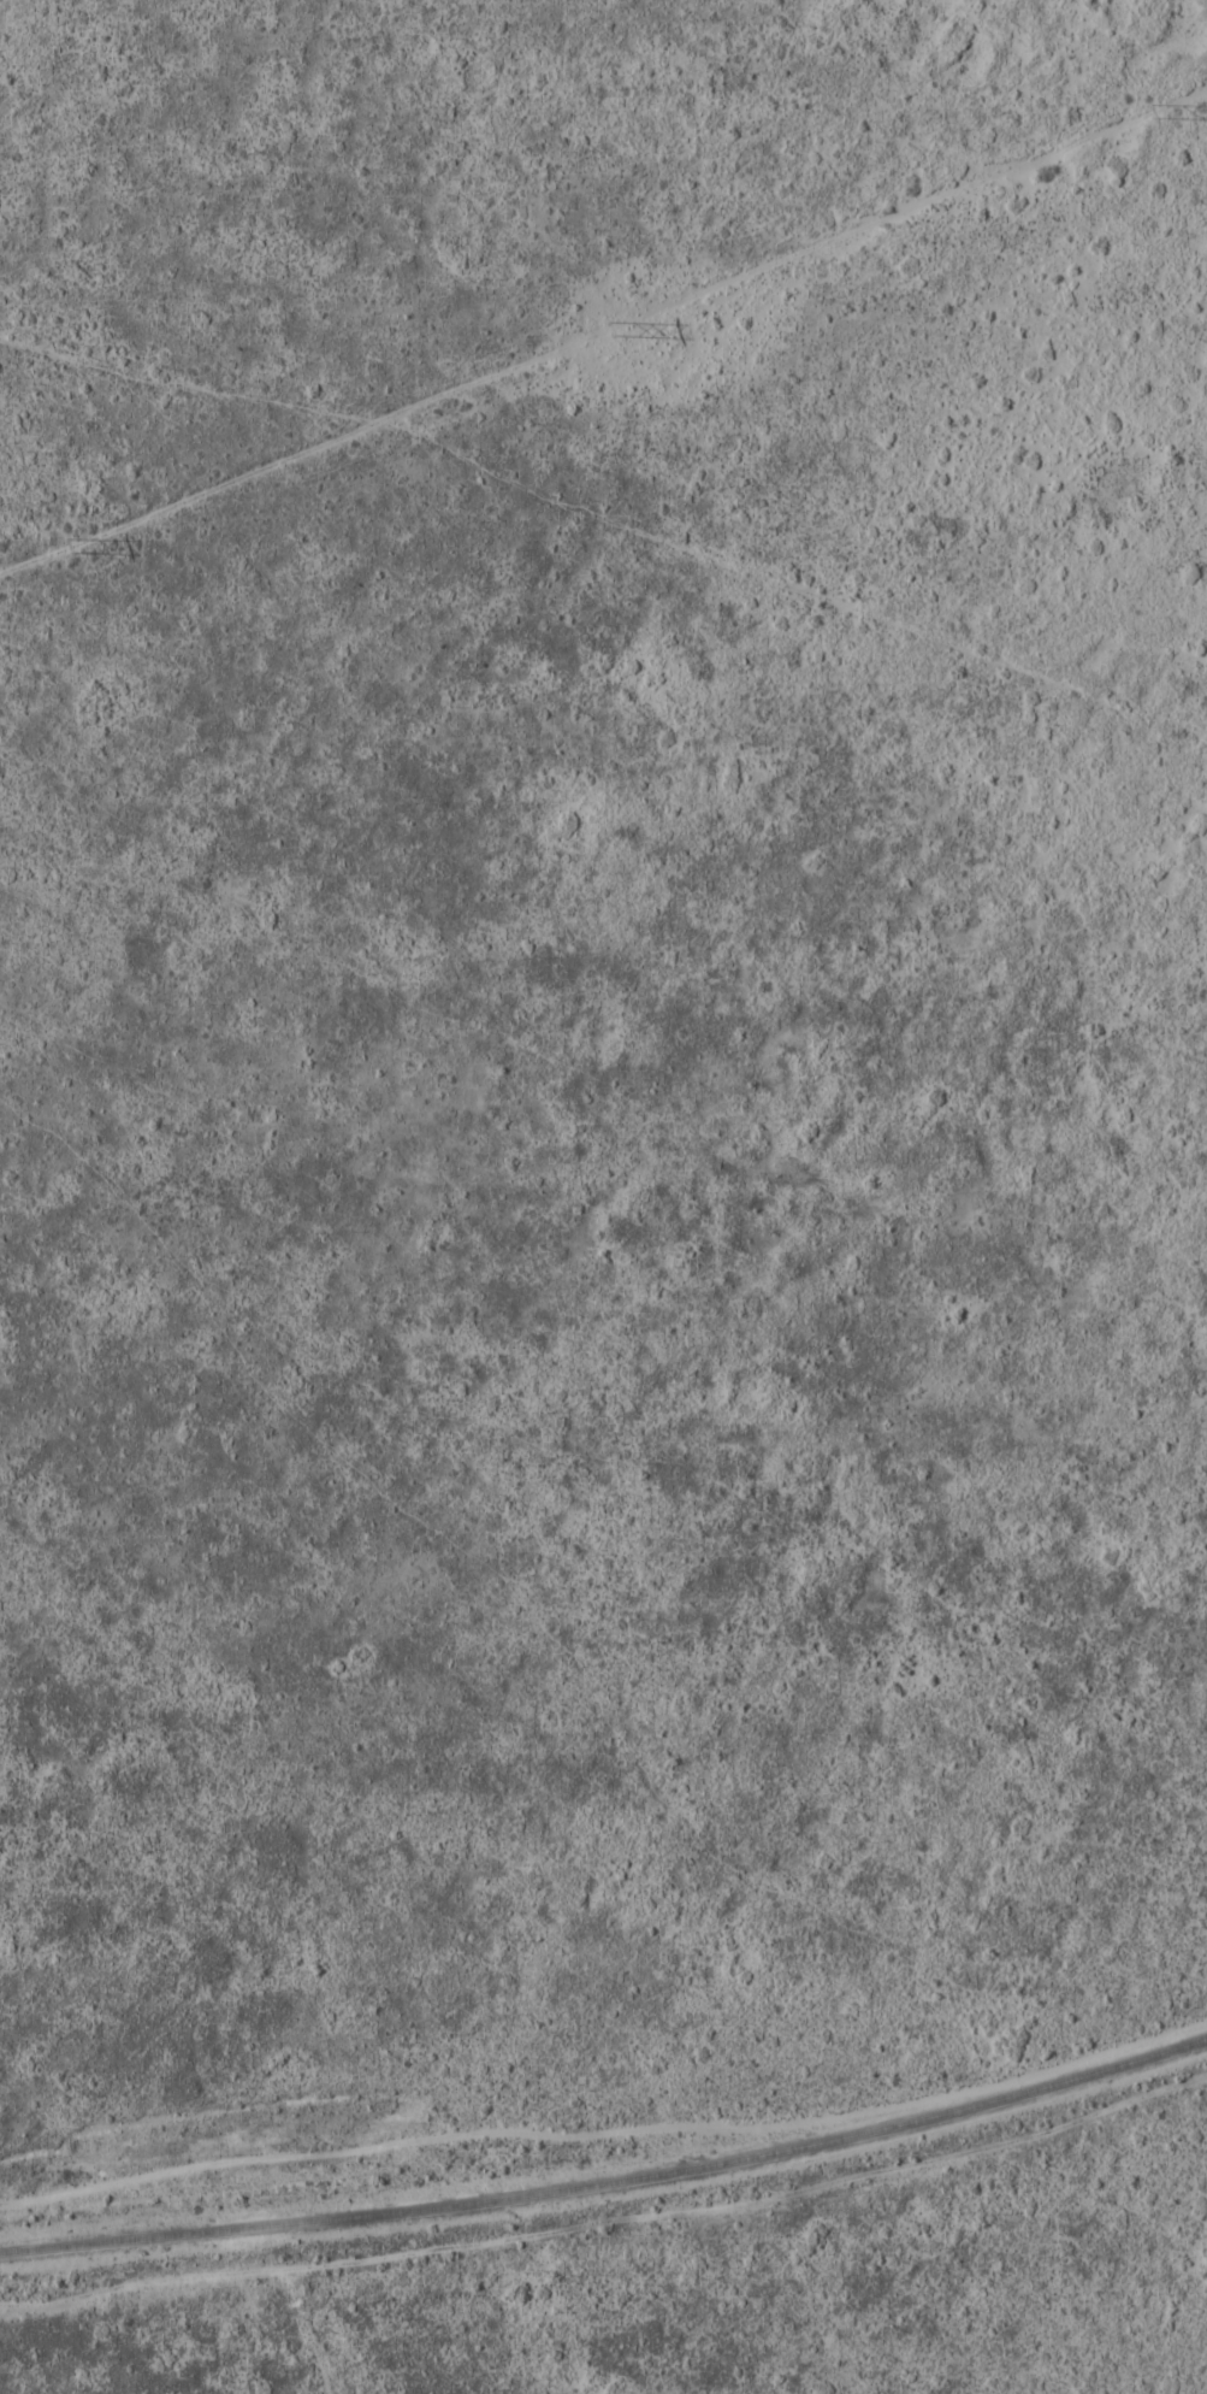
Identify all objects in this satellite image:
power tower: (1155, 107)
power tower: (613, 325)
power tower: (72, 544)
railway: (610, 2181)

